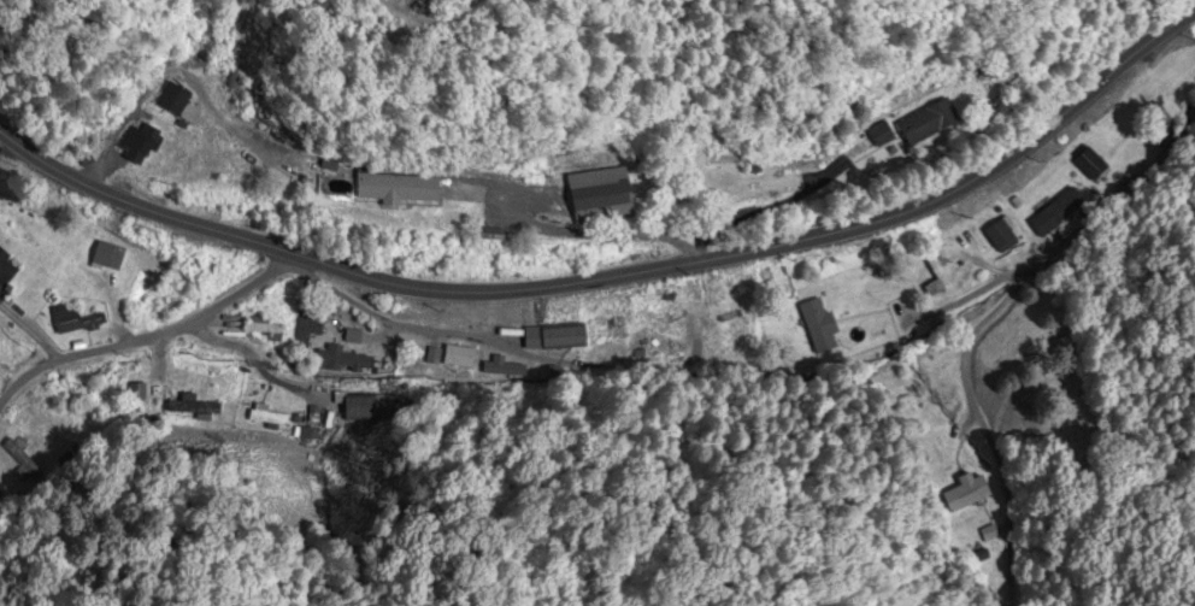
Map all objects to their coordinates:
building: (175, 98)
building: (937, 125)
building: (140, 142)
building: (1091, 165)
building: (404, 188)
building: (612, 196)
building: (1053, 212)
building: (1006, 236)
building: (110, 257)
building: (5, 266)
road: (617, 277)
building: (940, 278)
road: (124, 305)
building: (740, 318)
building: (69, 319)
building: (307, 325)
building: (265, 326)
building: (648, 326)
building: (820, 326)
building: (610, 328)
building: (557, 337)
building: (361, 406)
building: (206, 408)
building: (266, 416)
road: (364, 437)
building: (18, 460)
building: (966, 492)
road: (1148, 499)

